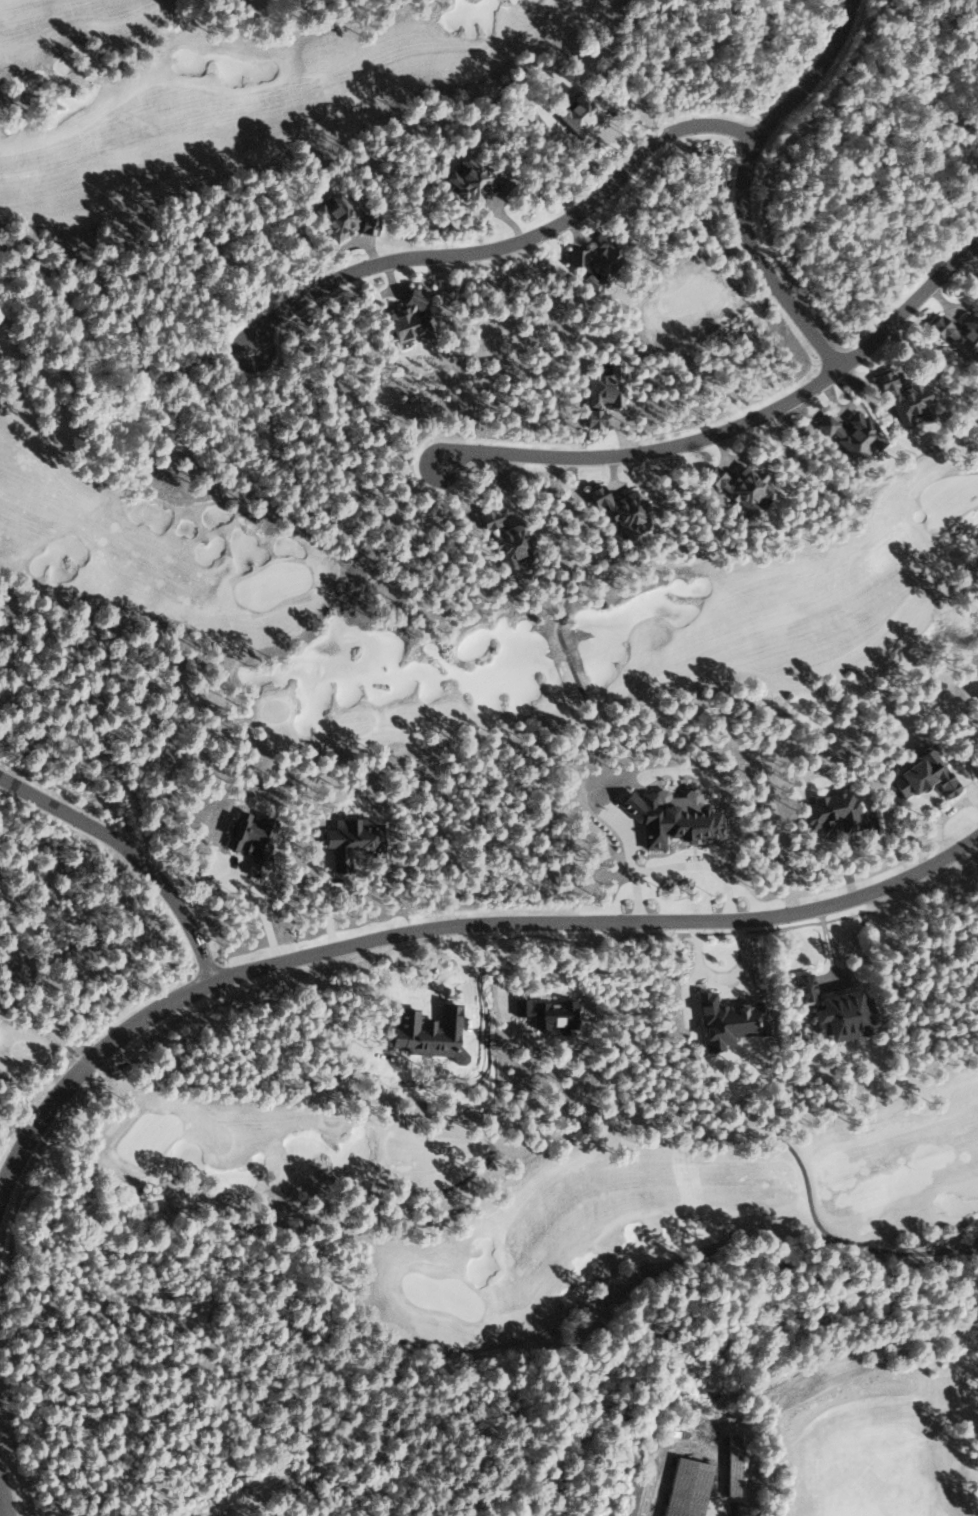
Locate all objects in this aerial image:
building: (581, 121)
building: (466, 178)
road: (743, 184)
building: (336, 215)
road: (509, 244)
building: (591, 257)
building: (591, 281)
building: (407, 317)
building: (959, 334)
park: (47, 382)
building: (601, 391)
building: (904, 398)
road: (734, 425)
building: (851, 435)
building: (739, 486)
building: (621, 509)
building: (505, 539)
building: (977, 697)
building: (921, 775)
building: (829, 811)
building: (670, 816)
building: (250, 840)
road: (129, 858)
road: (451, 925)
building: (830, 1010)
building: (547, 1014)
building: (727, 1021)
building: (417, 1032)
park: (622, 1258)
building: (732, 1464)
building: (685, 1488)
building: (633, 1494)
road: (0, 1513)

